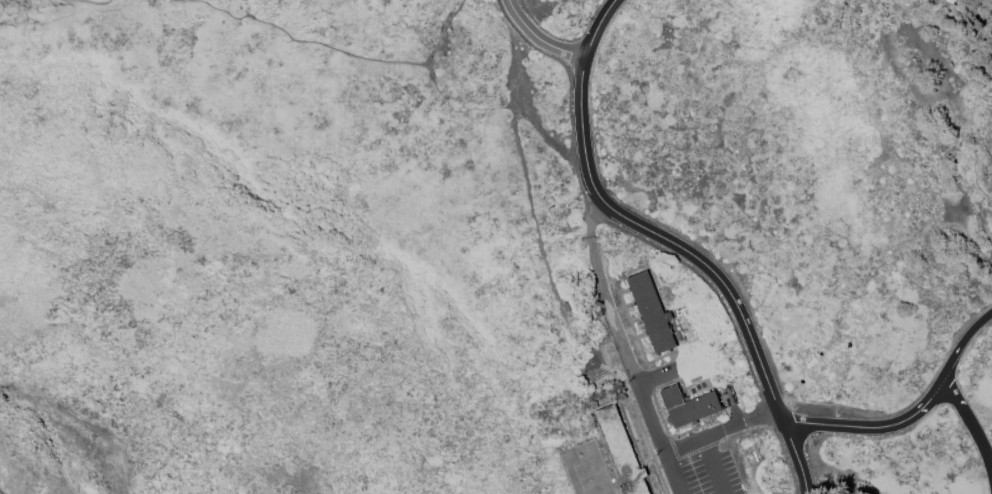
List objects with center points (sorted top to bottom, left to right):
road: (86, 0)
road: (547, 12)
road: (598, 27)
road: (541, 37)
road: (332, 47)
road: (529, 116)
road: (699, 256)
road: (602, 293)
building: (652, 316)
road: (960, 338)
road: (675, 376)
building: (687, 406)
road: (651, 421)
road: (970, 424)
road: (877, 428)
road: (721, 430)
building: (620, 452)
road: (717, 465)
parking lot: (700, 466)
park: (586, 471)
road: (671, 473)
road: (0, 493)

